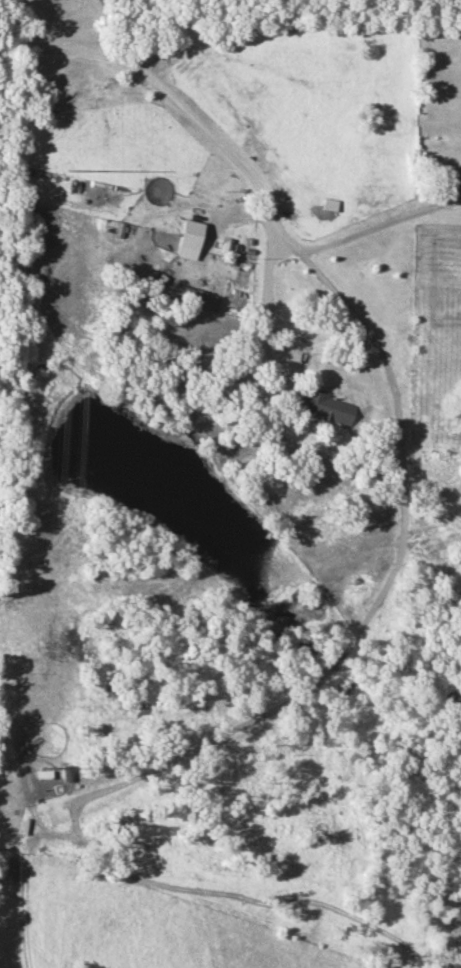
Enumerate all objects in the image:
road: (228, 155)
power tower: (70, 170)
building: (329, 205)
building: (188, 239)
road: (270, 352)
building: (325, 407)
road: (374, 595)
power tower: (43, 767)

